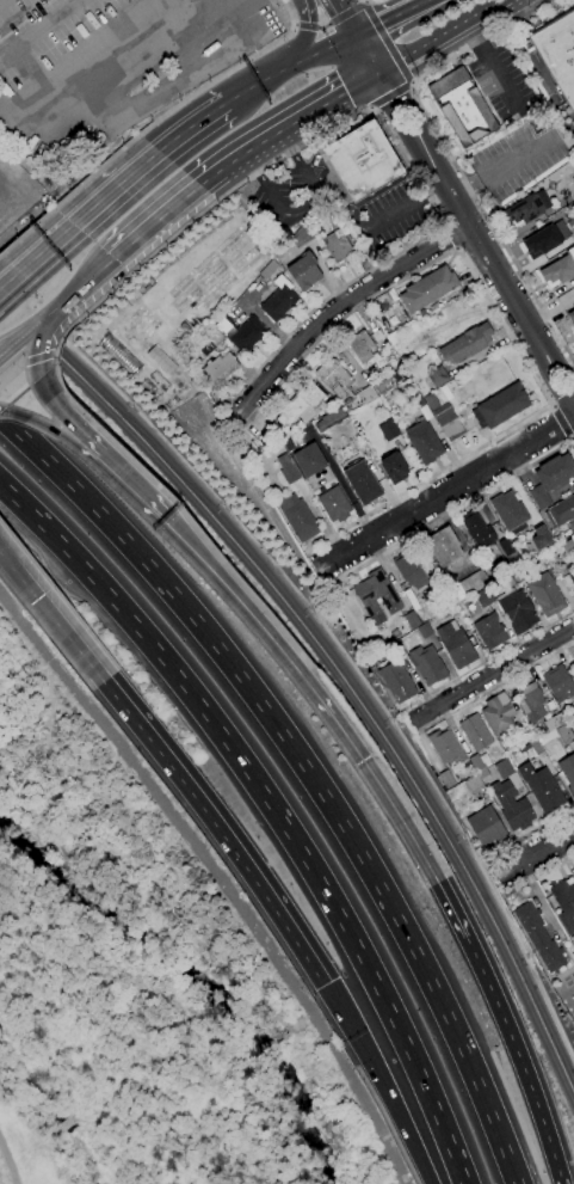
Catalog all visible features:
road: (2, 1)
road: (365, 1)
road: (289, 11)
road: (346, 16)
road: (387, 17)
road: (332, 20)
road: (476, 22)
road: (294, 24)
road: (37, 29)
traffic signals: (357, 35)
road: (479, 37)
road: (303, 39)
road: (388, 42)
building: (558, 51)
road: (369, 55)
road: (408, 60)
parking lot: (110, 61)
road: (123, 62)
road: (290, 67)
traffic signals: (381, 75)
road: (218, 80)
road: (501, 80)
road: (412, 82)
parking lot: (504, 84)
road: (390, 94)
building: (462, 108)
road: (369, 109)
road: (411, 111)
road: (19, 115)
road: (397, 119)
road: (191, 127)
road: (288, 127)
building: (573, 136)
road: (450, 155)
parking lot: (518, 158)
road: (519, 159)
building: (364, 160)
road: (467, 189)
road: (374, 190)
parking lot: (289, 192)
road: (69, 196)
road: (301, 207)
road: (401, 208)
building: (527, 208)
road: (437, 210)
parking lot: (388, 215)
road: (78, 216)
road: (155, 222)
road: (442, 223)
road: (449, 235)
building: (545, 239)
building: (335, 246)
road: (455, 249)
road: (484, 253)
building: (303, 270)
building: (560, 270)
road: (132, 271)
road: (0, 284)
road: (0, 286)
road: (81, 288)
building: (426, 288)
street lamp: (35, 297)
building: (277, 299)
road: (335, 306)
building: (570, 315)
road: (504, 326)
road: (36, 327)
building: (246, 333)
road: (11, 343)
building: (468, 343)
building: (359, 345)
road: (11, 349)
road: (41, 357)
traffic signals: (42, 362)
road: (561, 366)
building: (217, 369)
road: (12, 375)
building: (438, 376)
building: (334, 379)
road: (45, 384)
road: (554, 385)
building: (298, 403)
road: (551, 404)
building: (504, 405)
building: (443, 411)
road: (562, 421)
road: (42, 423)
building: (450, 427)
building: (389, 430)
road: (573, 436)
road: (572, 438)
building: (425, 442)
road: (573, 442)
building: (309, 460)
building: (394, 468)
building: (290, 474)
road: (121, 479)
building: (551, 479)
building: (363, 483)
road: (448, 490)
building: (335, 504)
building: (510, 510)
building: (562, 510)
road: (449, 514)
building: (301, 519)
building: (477, 529)
building: (568, 545)
building: (444, 546)
building: (506, 546)
building: (409, 570)
building: (469, 584)
building: (547, 594)
building: (378, 595)
road: (174, 596)
building: (484, 597)
road: (242, 605)
building: (518, 612)
road: (53, 614)
building: (490, 632)
road: (332, 636)
building: (458, 649)
road: (488, 660)
road: (331, 661)
building: (428, 664)
road: (493, 671)
building: (399, 682)
building: (558, 682)
road: (494, 688)
building: (573, 700)
road: (198, 701)
building: (530, 701)
building: (499, 713)
building: (554, 722)
building: (476, 732)
building: (566, 734)
building: (446, 748)
building: (476, 762)
building: (505, 768)
building: (568, 769)
building: (484, 775)
building: (446, 779)
building: (474, 785)
building: (542, 787)
building: (512, 804)
road: (395, 810)
road: (504, 824)
building: (487, 826)
road: (217, 829)
road: (531, 834)
road: (536, 853)
road: (539, 875)
road: (220, 877)
road: (521, 896)
road: (538, 901)
building: (564, 903)
building: (541, 937)
park: (148, 973)
river: (195, 976)
traffic signals: (325, 984)
road: (433, 984)
road: (518, 1054)
road: (415, 1066)
road: (377, 1082)
road: (8, 1160)

